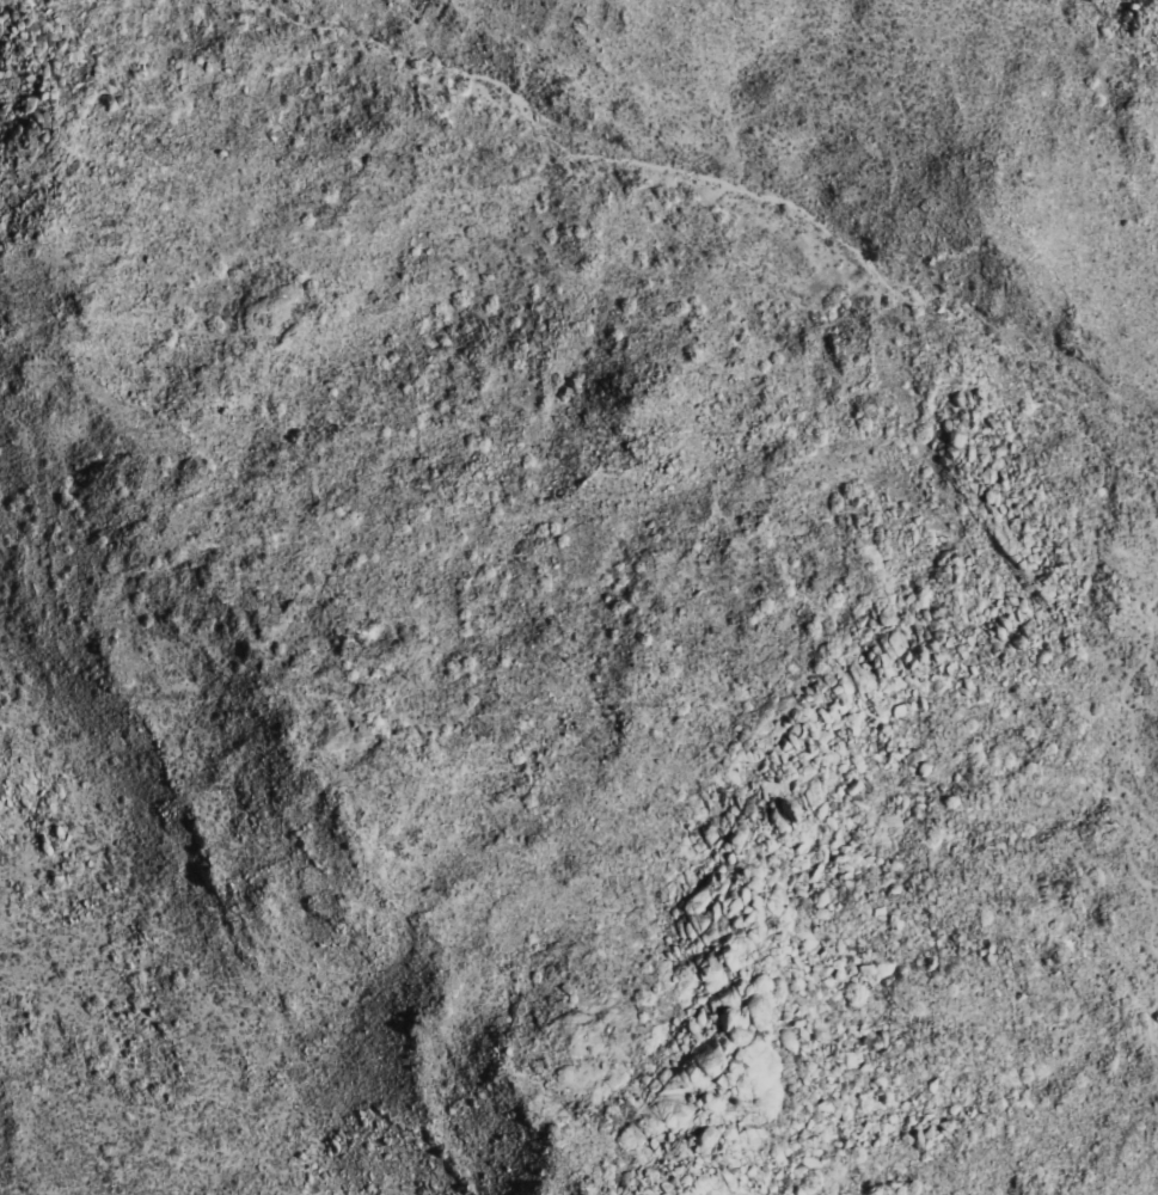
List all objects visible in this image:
park: (584, 596)

